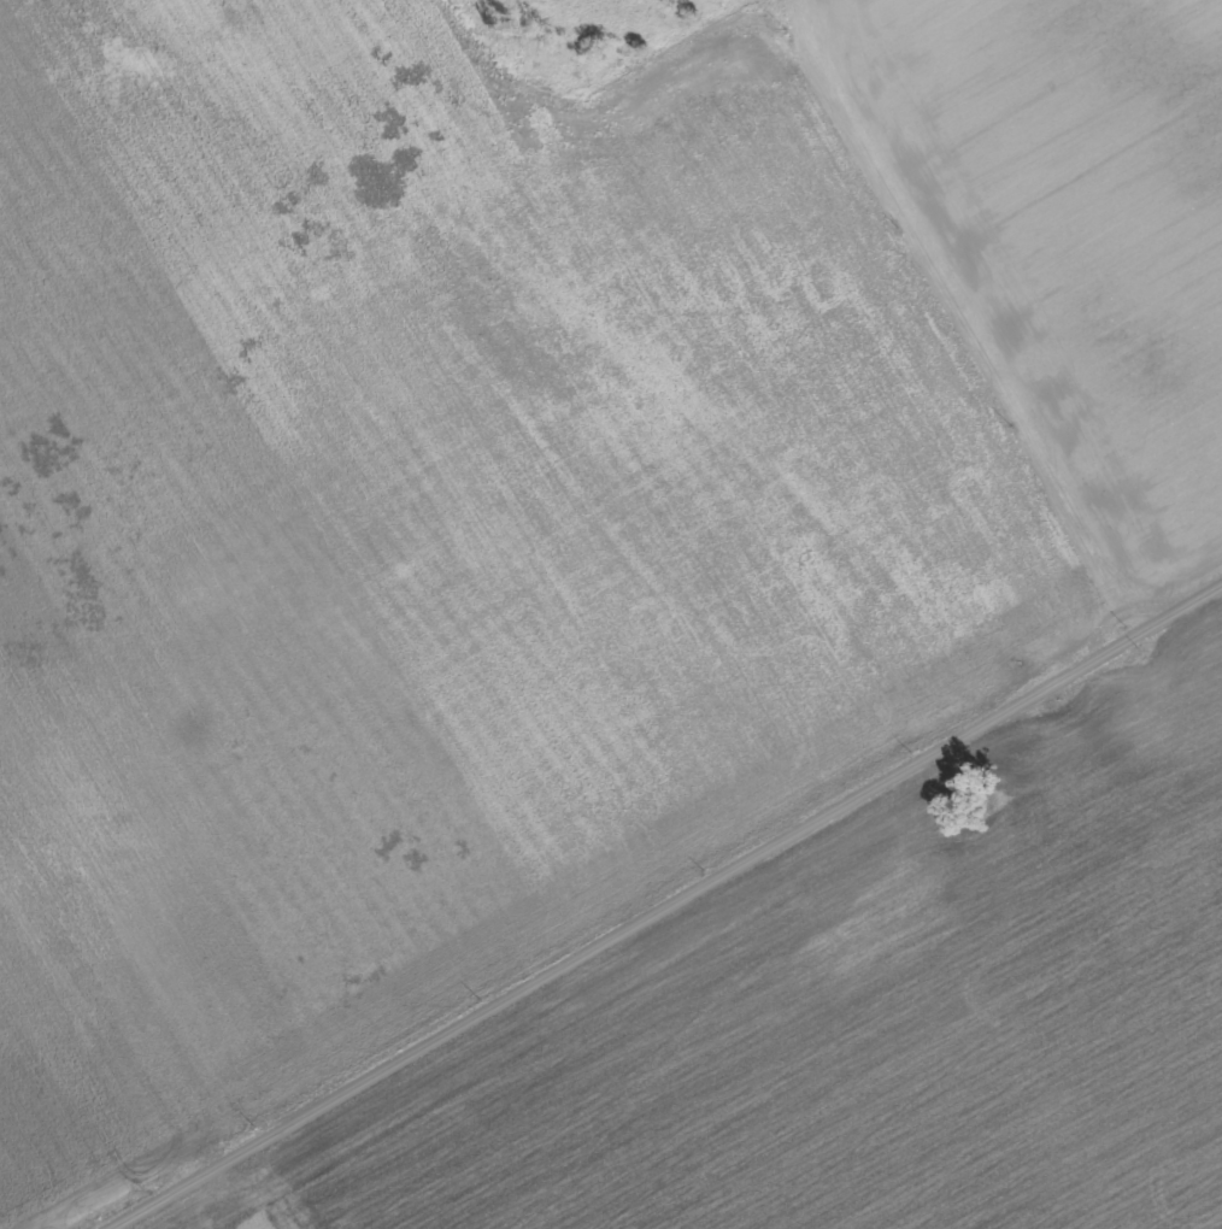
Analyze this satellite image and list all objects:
road: (578, 83)
road: (958, 306)
road: (654, 896)
road: (265, 1184)

